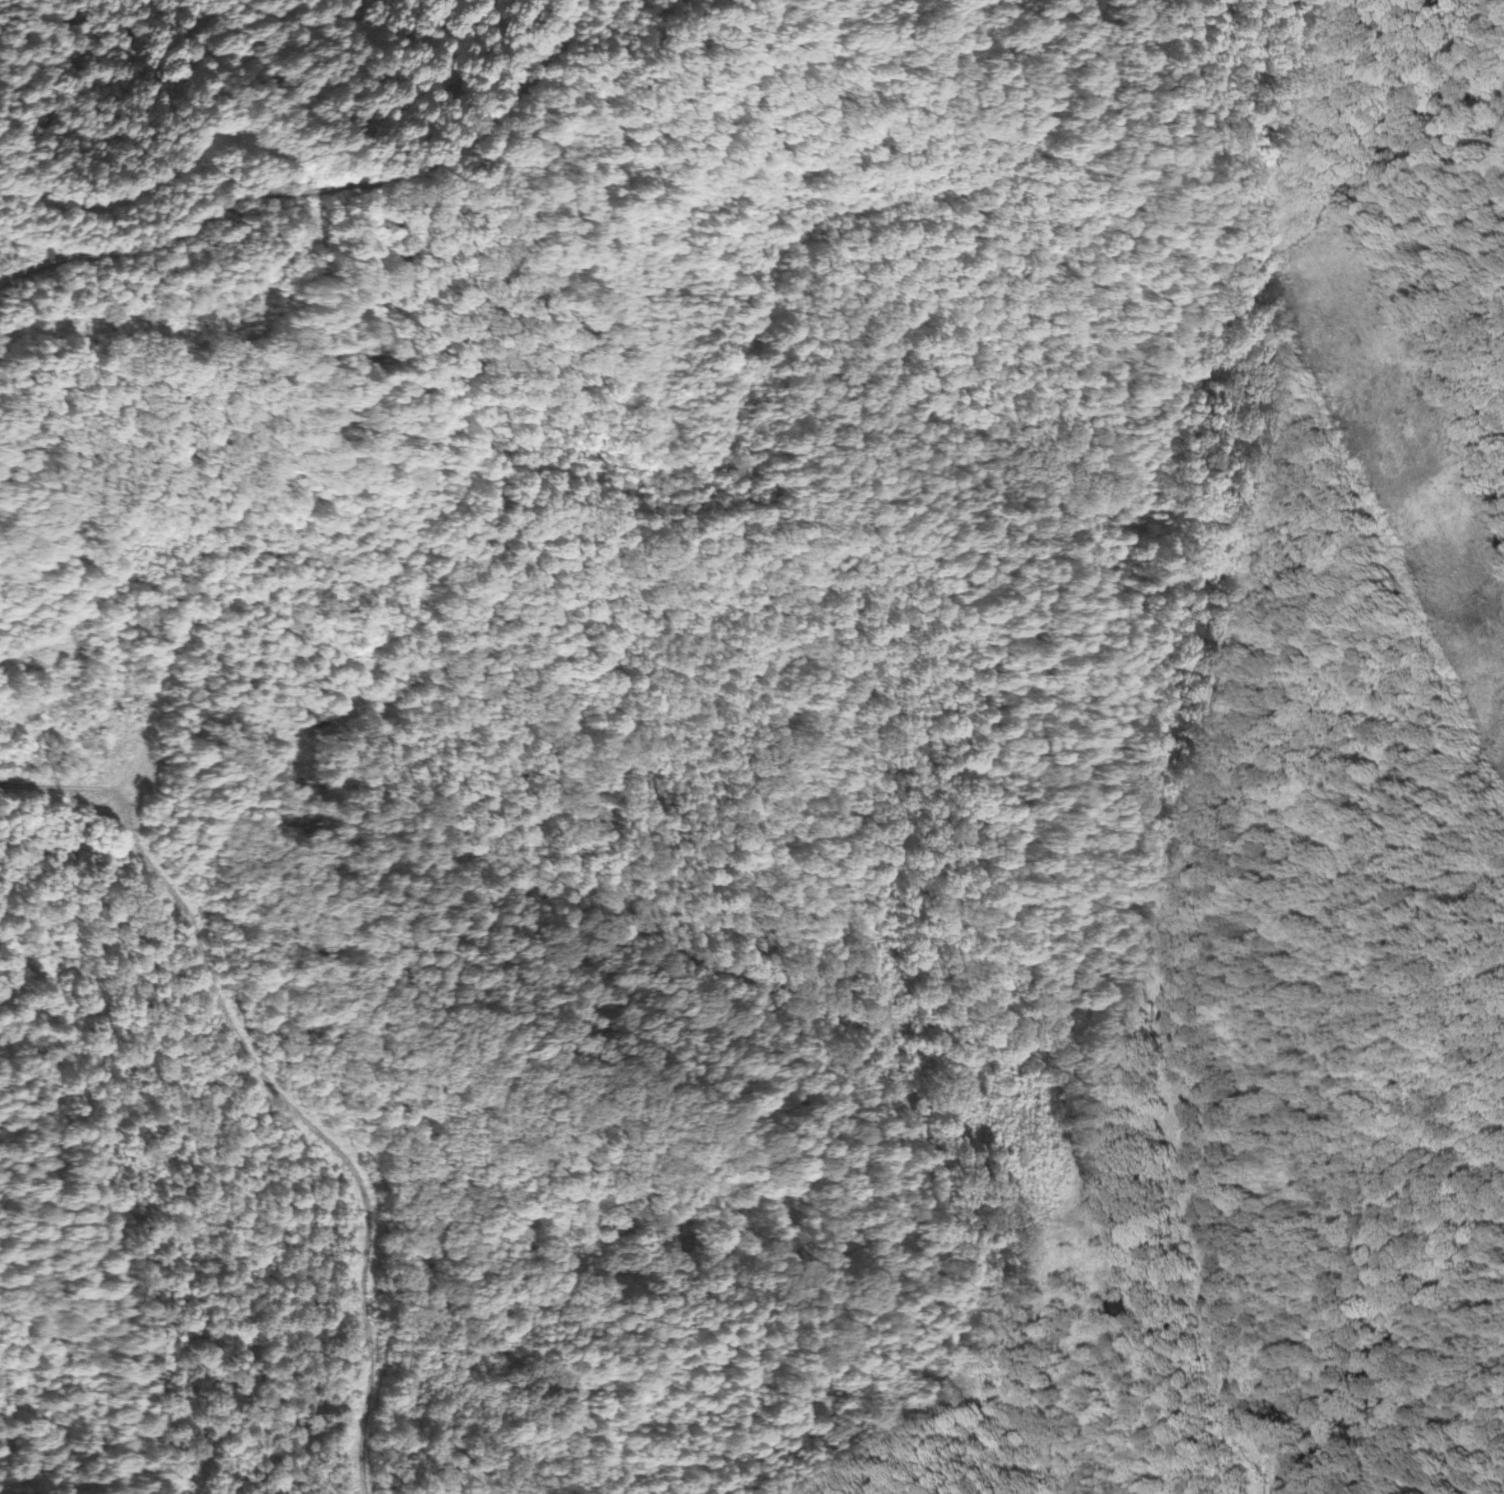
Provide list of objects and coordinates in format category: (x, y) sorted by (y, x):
building: (1118, 1308)

